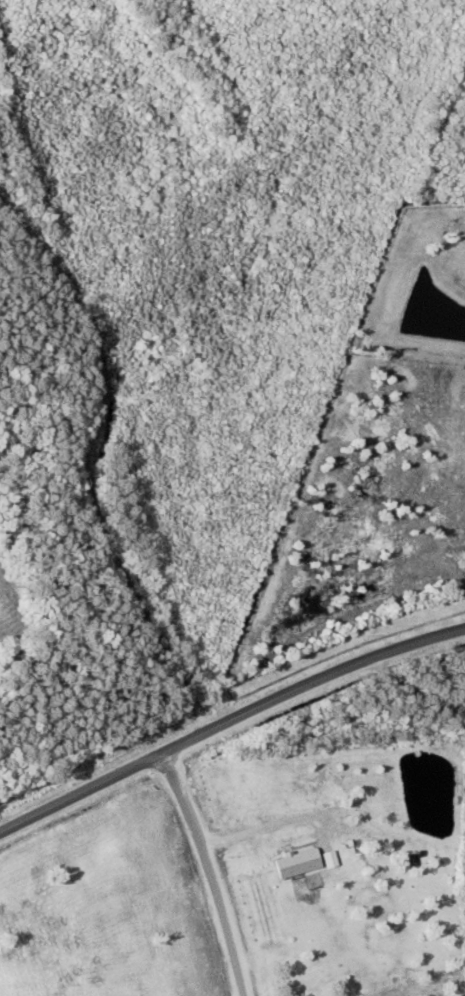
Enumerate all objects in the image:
road: (93, 393)
road: (227, 712)
road: (227, 864)

